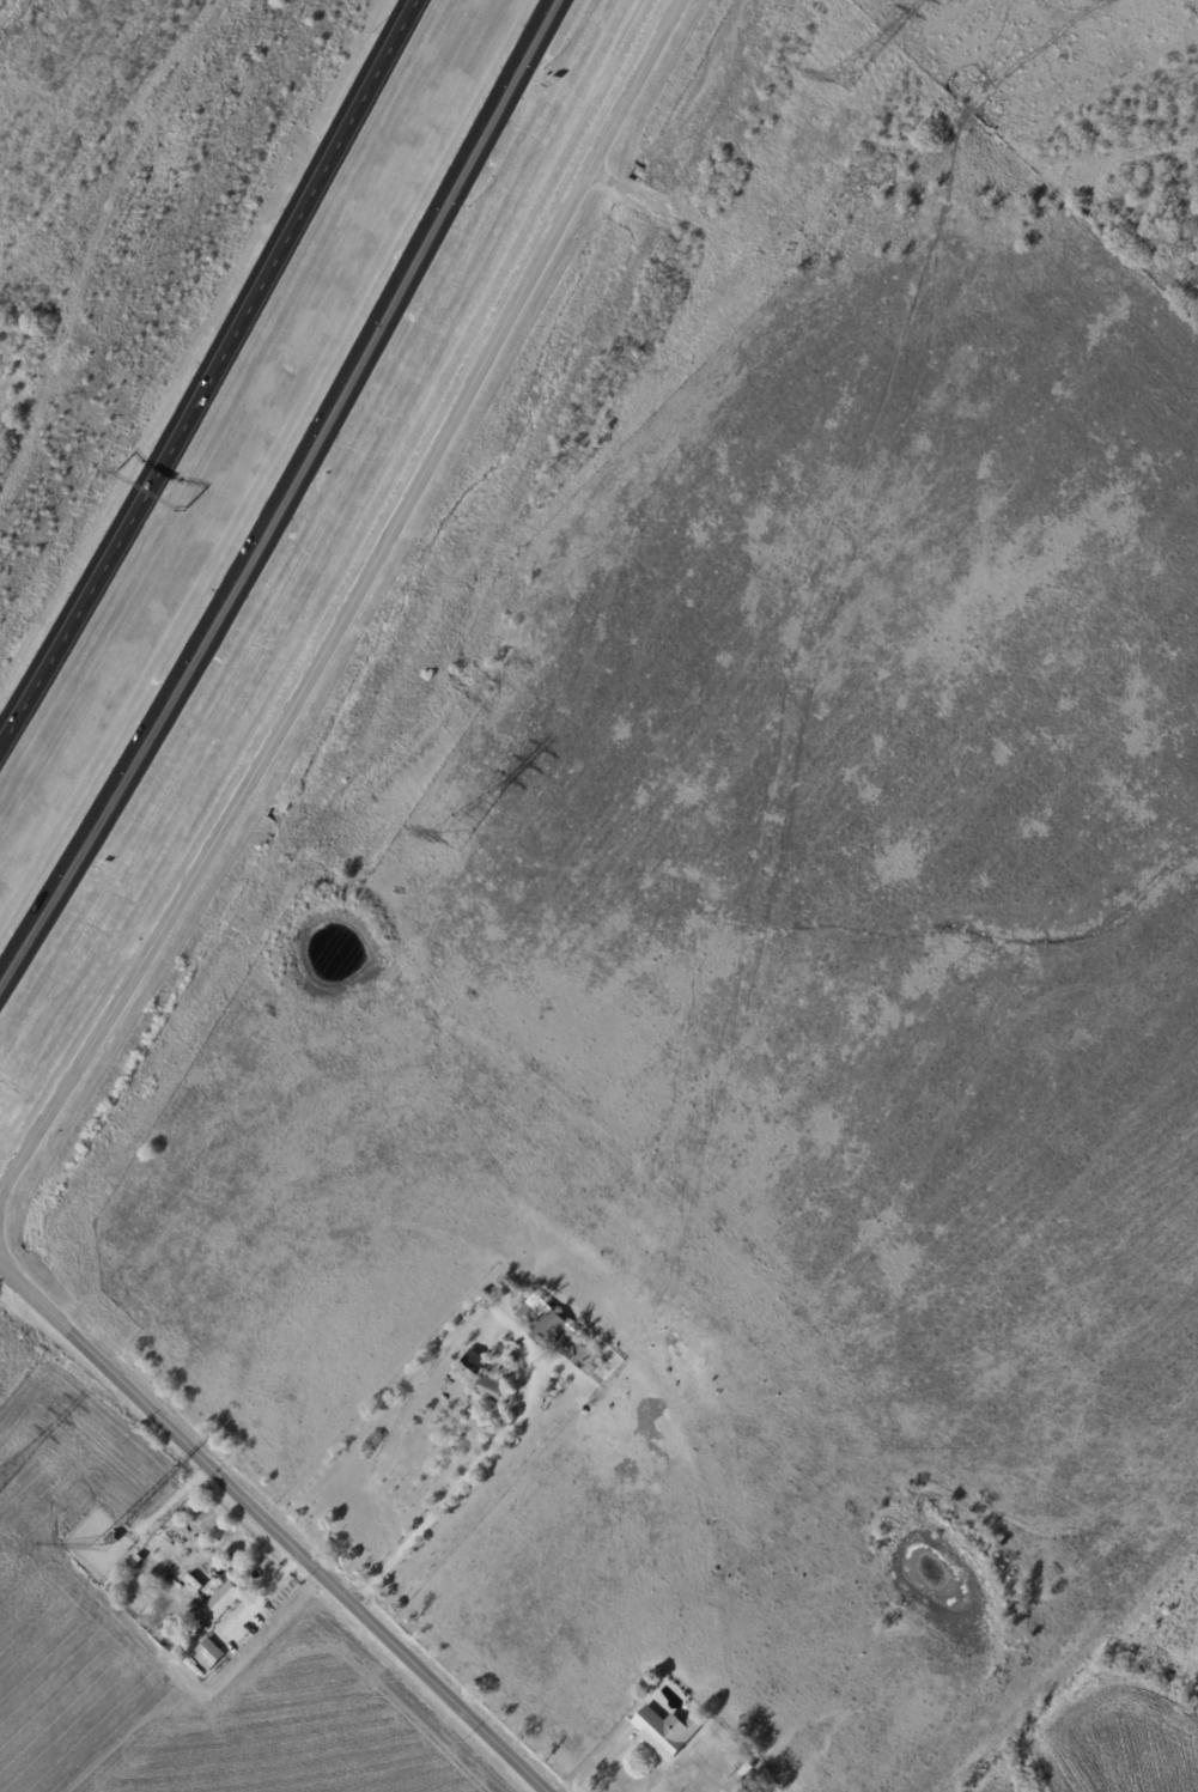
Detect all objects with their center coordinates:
power tower: (844, 84)
road: (213, 373)
road: (285, 494)
road: (347, 599)
power tower: (455, 836)
building: (546, 1325)
building: (475, 1361)
building: (492, 1387)
road: (452, 1489)
road: (266, 1526)
building: (110, 1538)
building: (223, 1602)
building: (178, 1634)
building: (208, 1654)
building: (665, 1732)
road: (604, 1766)
building: (746, 1770)
building: (700, 1780)
building: (761, 1791)

